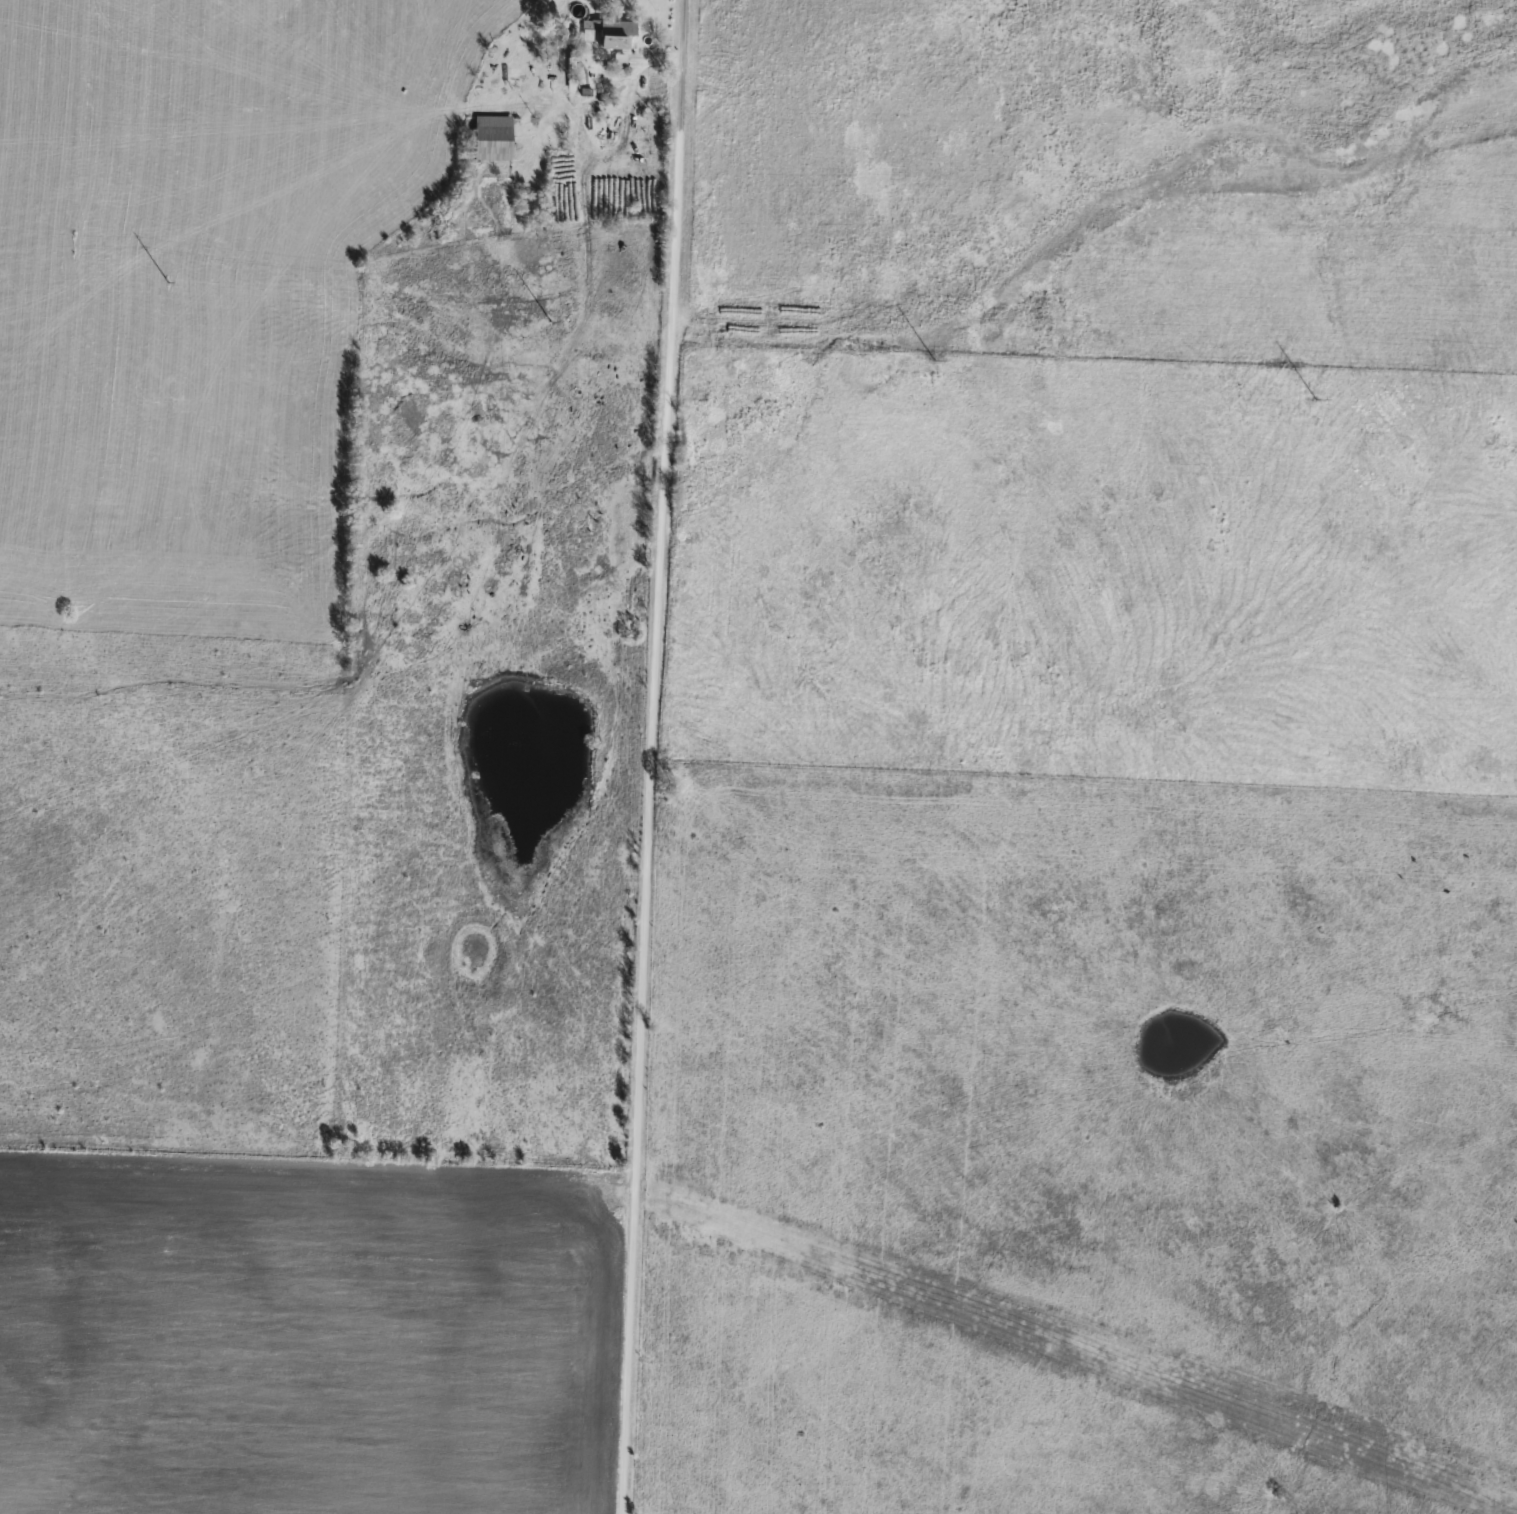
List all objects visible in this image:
building: (612, 32)
building: (493, 138)
power tower: (166, 280)
power tower: (549, 321)
power tower: (932, 359)
power tower: (1315, 401)
road: (652, 757)

